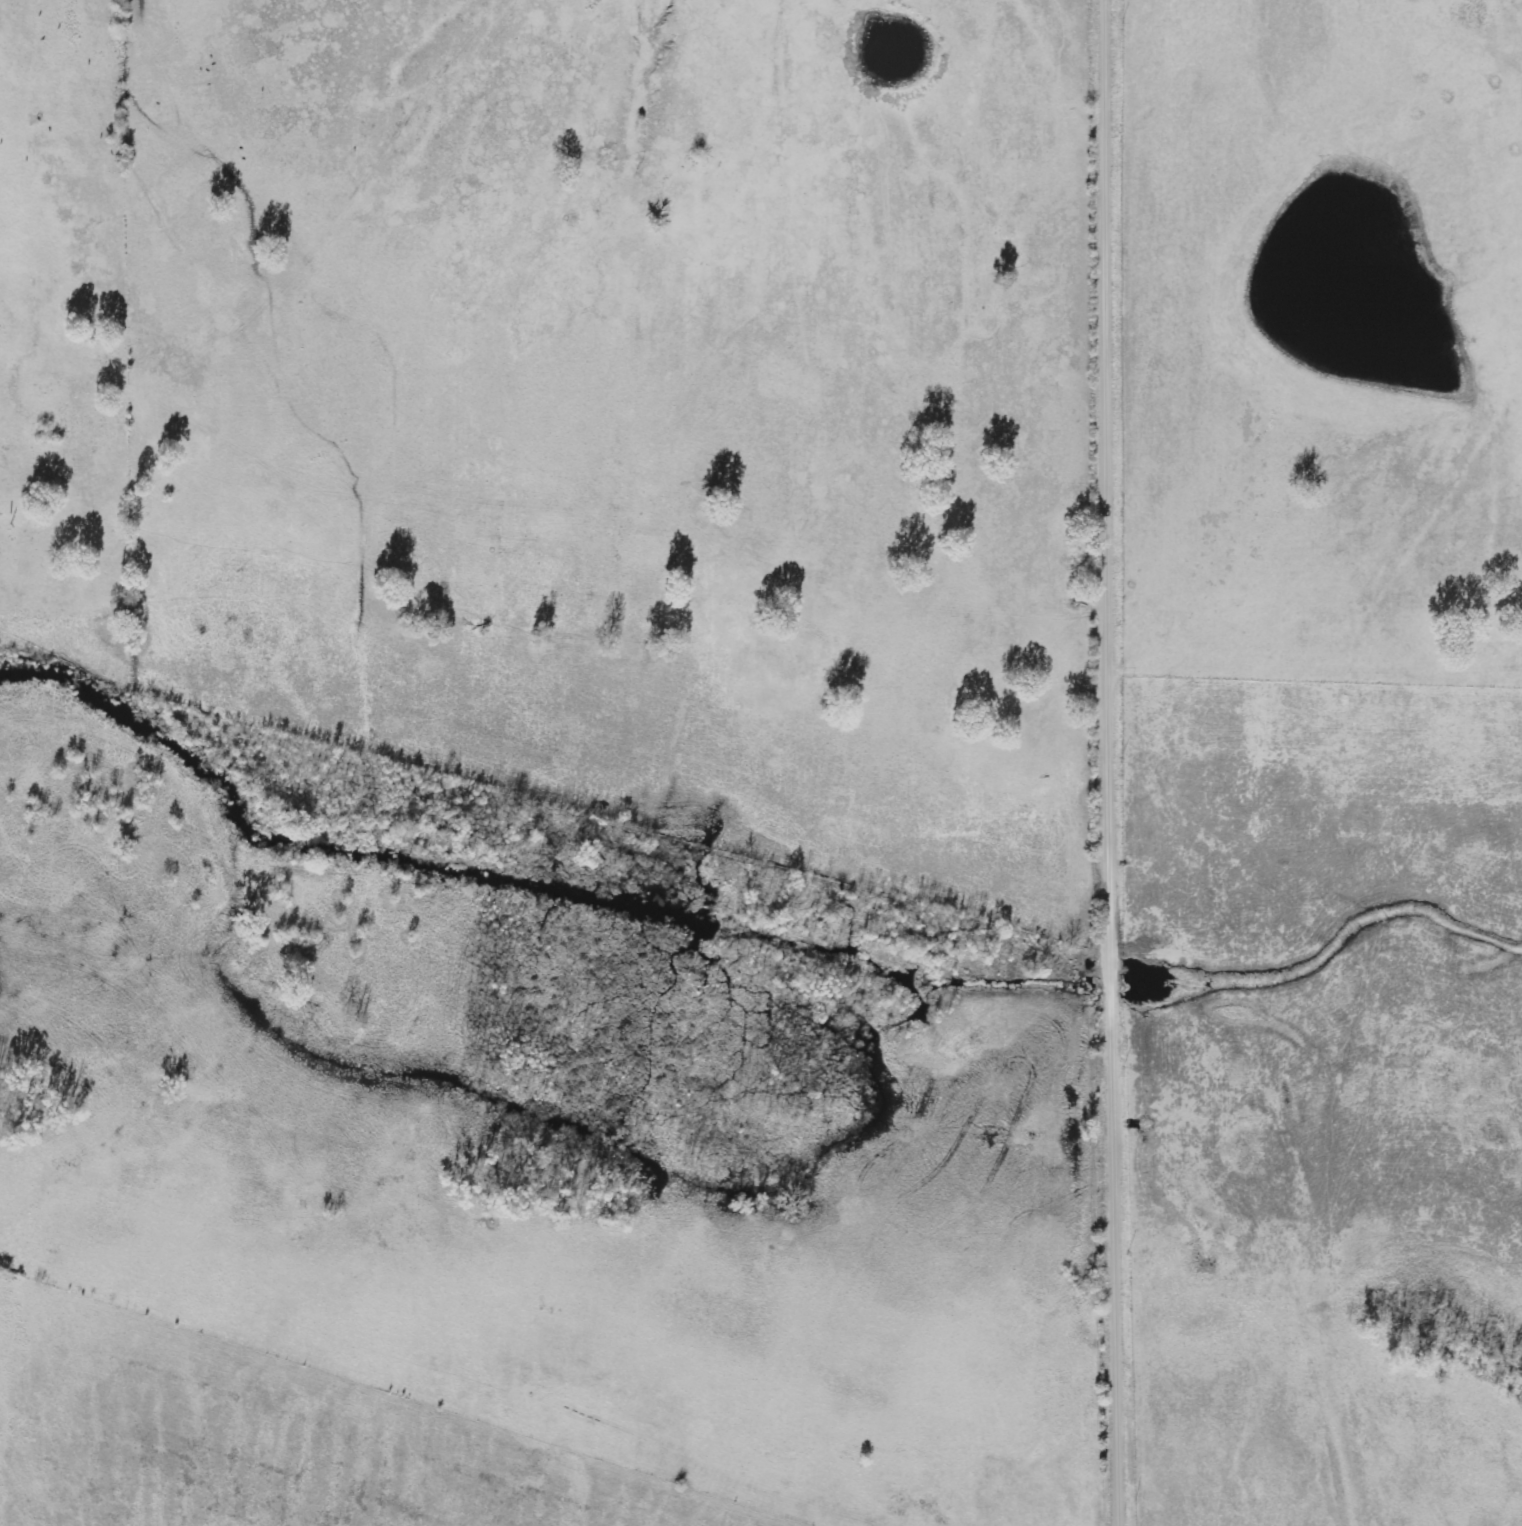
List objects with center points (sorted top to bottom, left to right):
road: (1105, 763)

